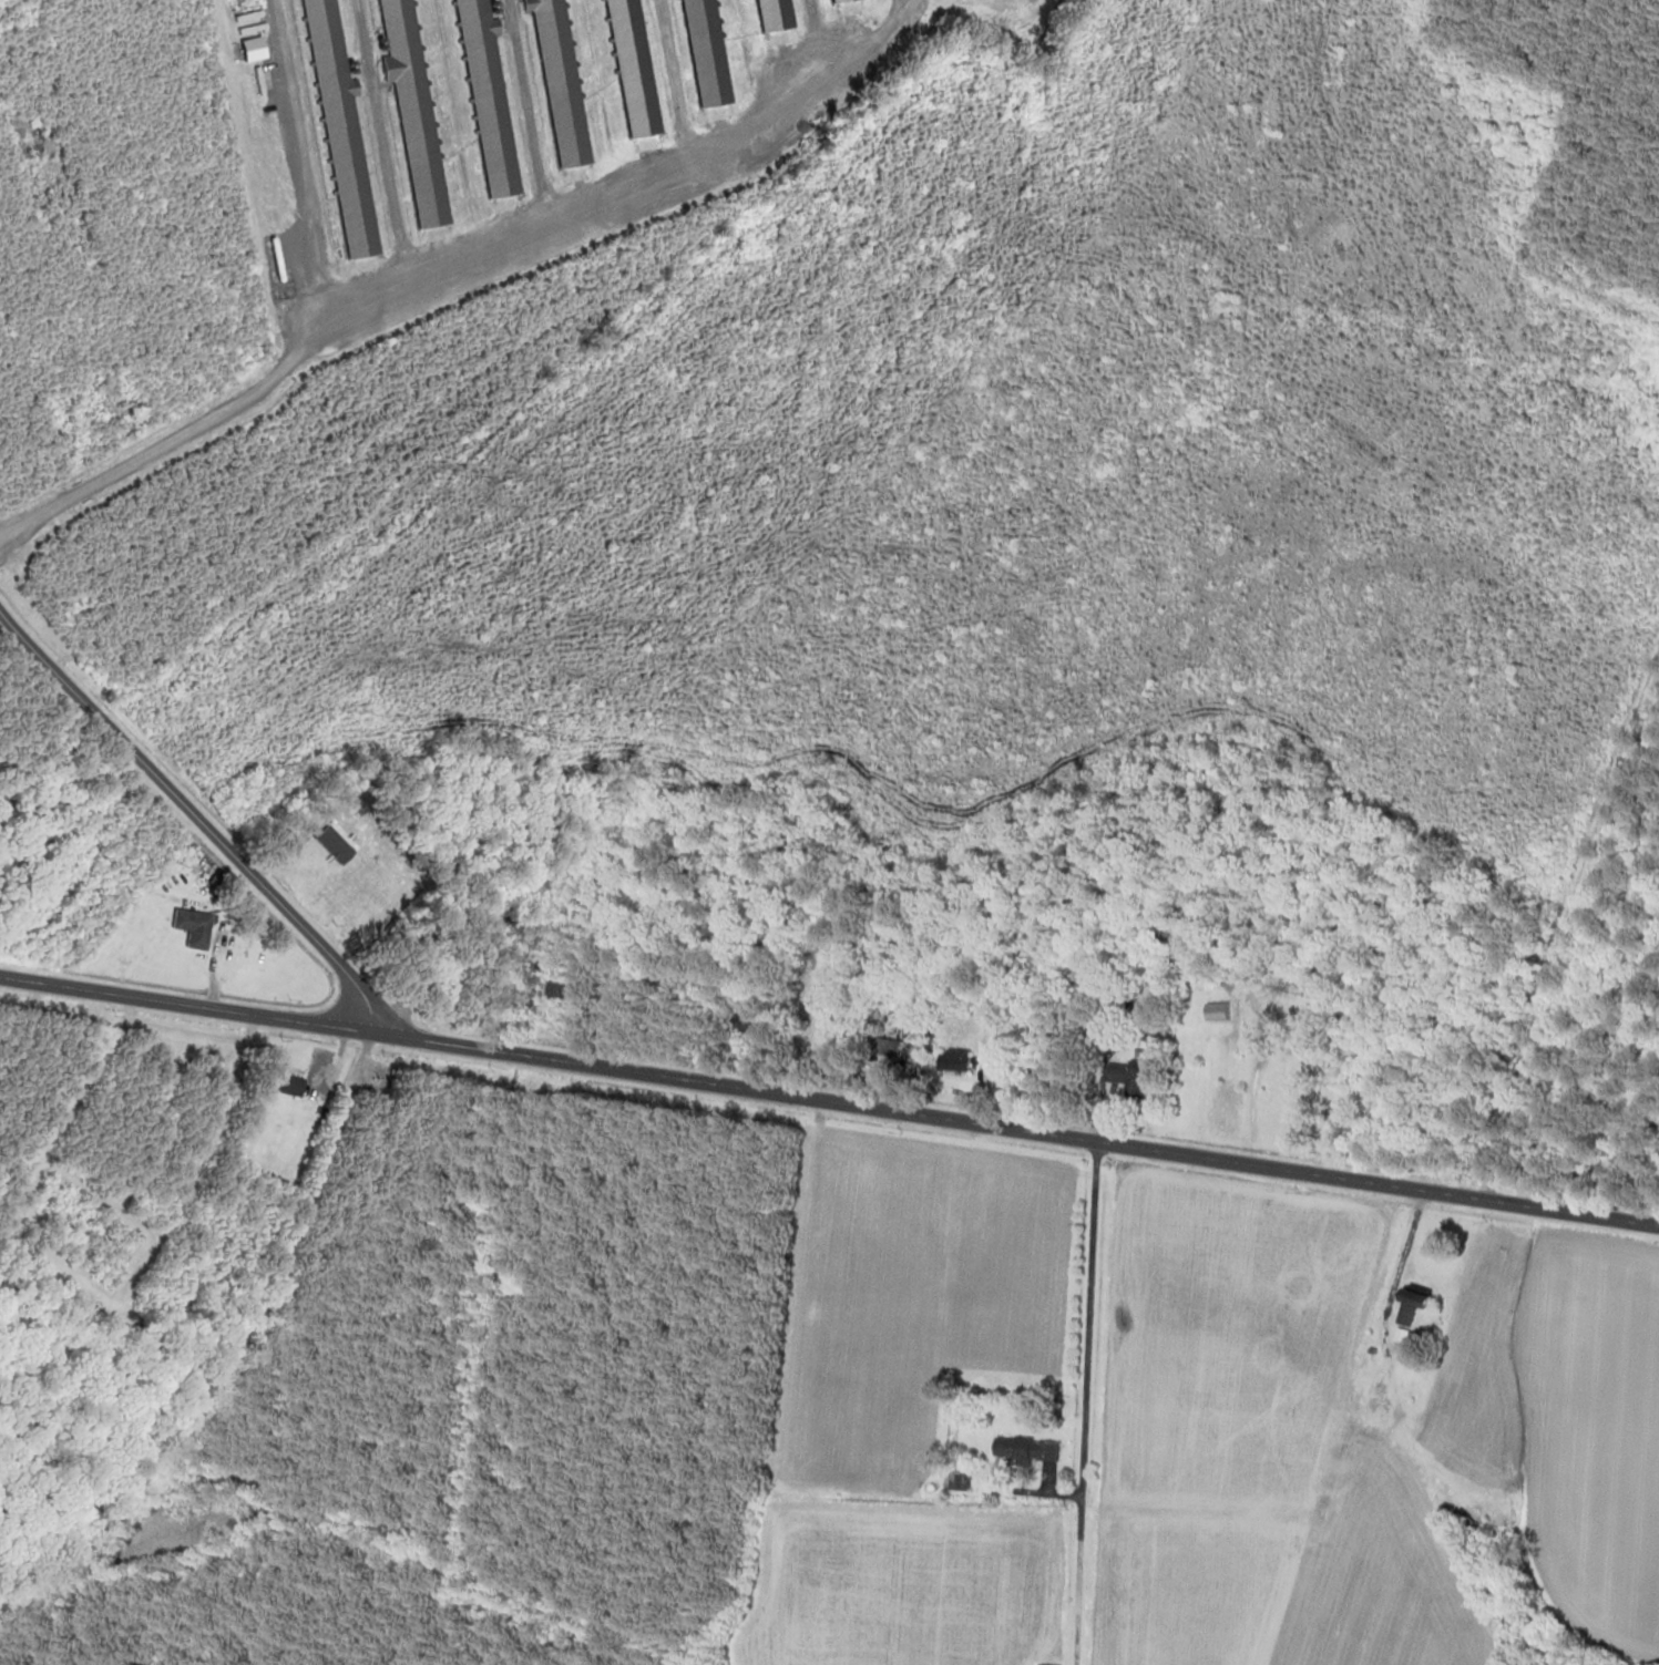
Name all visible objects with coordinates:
road: (462, 275)
road: (197, 819)
building: (196, 927)
building: (571, 995)
building: (1219, 1011)
building: (751, 1026)
building: (1149, 1042)
building: (831, 1050)
building: (956, 1061)
building: (1134, 1079)
building: (290, 1083)
road: (829, 1102)
building: (1406, 1316)
road: (1095, 1405)
building: (1033, 1449)
building: (962, 1481)
building: (1464, 1523)

